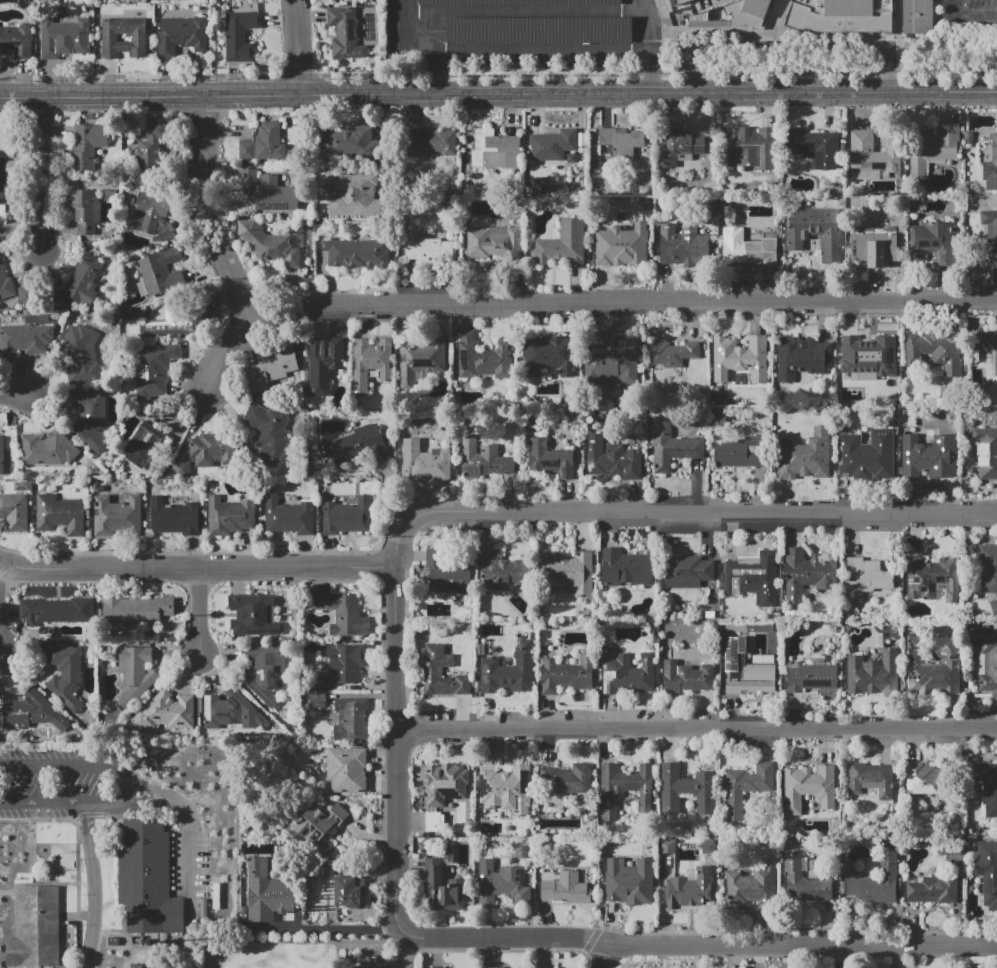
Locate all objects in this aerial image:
building: (514, 2)
building: (671, 3)
road: (528, 12)
building: (718, 13)
parking lot: (966, 15)
building: (840, 16)
building: (916, 16)
road: (405, 19)
road: (771, 23)
parking lot: (543, 24)
road: (900, 24)
building: (345, 33)
road: (665, 34)
building: (181, 35)
building: (240, 36)
building: (63, 38)
building: (109, 38)
building: (16, 40)
road: (297, 46)
road: (652, 46)
road: (790, 46)
road: (543, 50)
road: (435, 56)
road: (498, 74)
road: (149, 94)
road: (648, 94)
building: (428, 138)
building: (619, 142)
building: (149, 143)
building: (264, 143)
building: (348, 143)
building: (553, 144)
building: (86, 145)
building: (679, 146)
building: (933, 146)
building: (749, 147)
building: (815, 147)
building: (495, 149)
building: (874, 156)
building: (991, 166)
road: (47, 167)
building: (541, 185)
building: (270, 191)
building: (109, 194)
building: (355, 196)
road: (206, 205)
building: (85, 210)
building: (3, 215)
building: (152, 215)
building: (815, 230)
building: (991, 233)
building: (932, 242)
building: (495, 243)
building: (268, 244)
building: (563, 244)
building: (683, 244)
building: (622, 245)
building: (747, 248)
building: (428, 252)
building: (879, 252)
building: (357, 253)
building: (160, 272)
building: (84, 280)
building: (6, 285)
road: (621, 306)
building: (170, 321)
building: (24, 340)
road: (227, 350)
building: (935, 351)
building: (672, 353)
building: (82, 354)
building: (873, 354)
building: (548, 355)
building: (801, 357)
building: (482, 358)
building: (741, 358)
building: (420, 359)
building: (612, 360)
building: (324, 362)
building: (996, 362)
building: (369, 363)
building: (154, 369)
building: (271, 369)
road: (15, 395)
building: (89, 417)
road: (195, 418)
building: (269, 429)
building: (142, 443)
building: (356, 444)
building: (672, 447)
building: (47, 449)
building: (212, 449)
building: (986, 452)
building: (740, 453)
building: (2, 455)
building: (865, 455)
building: (805, 456)
building: (928, 457)
building: (423, 459)
building: (550, 459)
building: (612, 459)
building: (483, 460)
building: (180, 468)
building: (21, 486)
building: (14, 512)
road: (677, 512)
building: (59, 514)
building: (230, 515)
building: (174, 516)
building: (289, 516)
building: (346, 516)
building: (118, 517)
road: (197, 565)
building: (626, 567)
building: (503, 570)
building: (686, 571)
building: (988, 572)
building: (448, 573)
building: (567, 574)
building: (806, 574)
building: (752, 578)
building: (866, 578)
building: (933, 579)
road: (200, 609)
building: (57, 610)
building: (136, 610)
building: (342, 613)
building: (254, 615)
road: (3, 642)
building: (348, 662)
building: (988, 667)
building: (928, 669)
building: (747, 670)
building: (264, 672)
building: (509, 672)
building: (135, 673)
building: (441, 673)
building: (628, 673)
building: (567, 674)
building: (873, 674)
building: (66, 675)
building: (810, 677)
building: (687, 678)
building: (316, 683)
building: (317, 699)
building: (229, 710)
building: (30, 711)
building: (166, 713)
building: (352, 718)
road: (696, 727)
road: (395, 748)
building: (347, 770)
building: (873, 777)
building: (924, 778)
building: (567, 779)
road: (40, 781)
road: (126, 781)
parking lot: (63, 783)
building: (445, 783)
building: (746, 787)
building: (808, 787)
building: (987, 787)
building: (625, 788)
building: (505, 790)
building: (687, 790)
road: (167, 794)
road: (54, 821)
building: (320, 821)
building: (434, 822)
road: (88, 828)
park: (57, 846)
road: (190, 863)
parking lot: (187, 865)
building: (988, 872)
building: (145, 879)
building: (803, 882)
building: (876, 882)
road: (74, 884)
building: (502, 884)
building: (753, 886)
building: (564, 887)
building: (627, 887)
building: (443, 889)
building: (932, 889)
building: (268, 892)
building: (346, 892)
building: (688, 899)
road: (95, 911)
building: (40, 928)
road: (504, 939)
road: (298, 941)
road: (803, 944)
road: (411, 952)
road: (340, 954)
road: (604, 955)
park: (279, 956)
building: (436, 967)
building: (493, 967)

